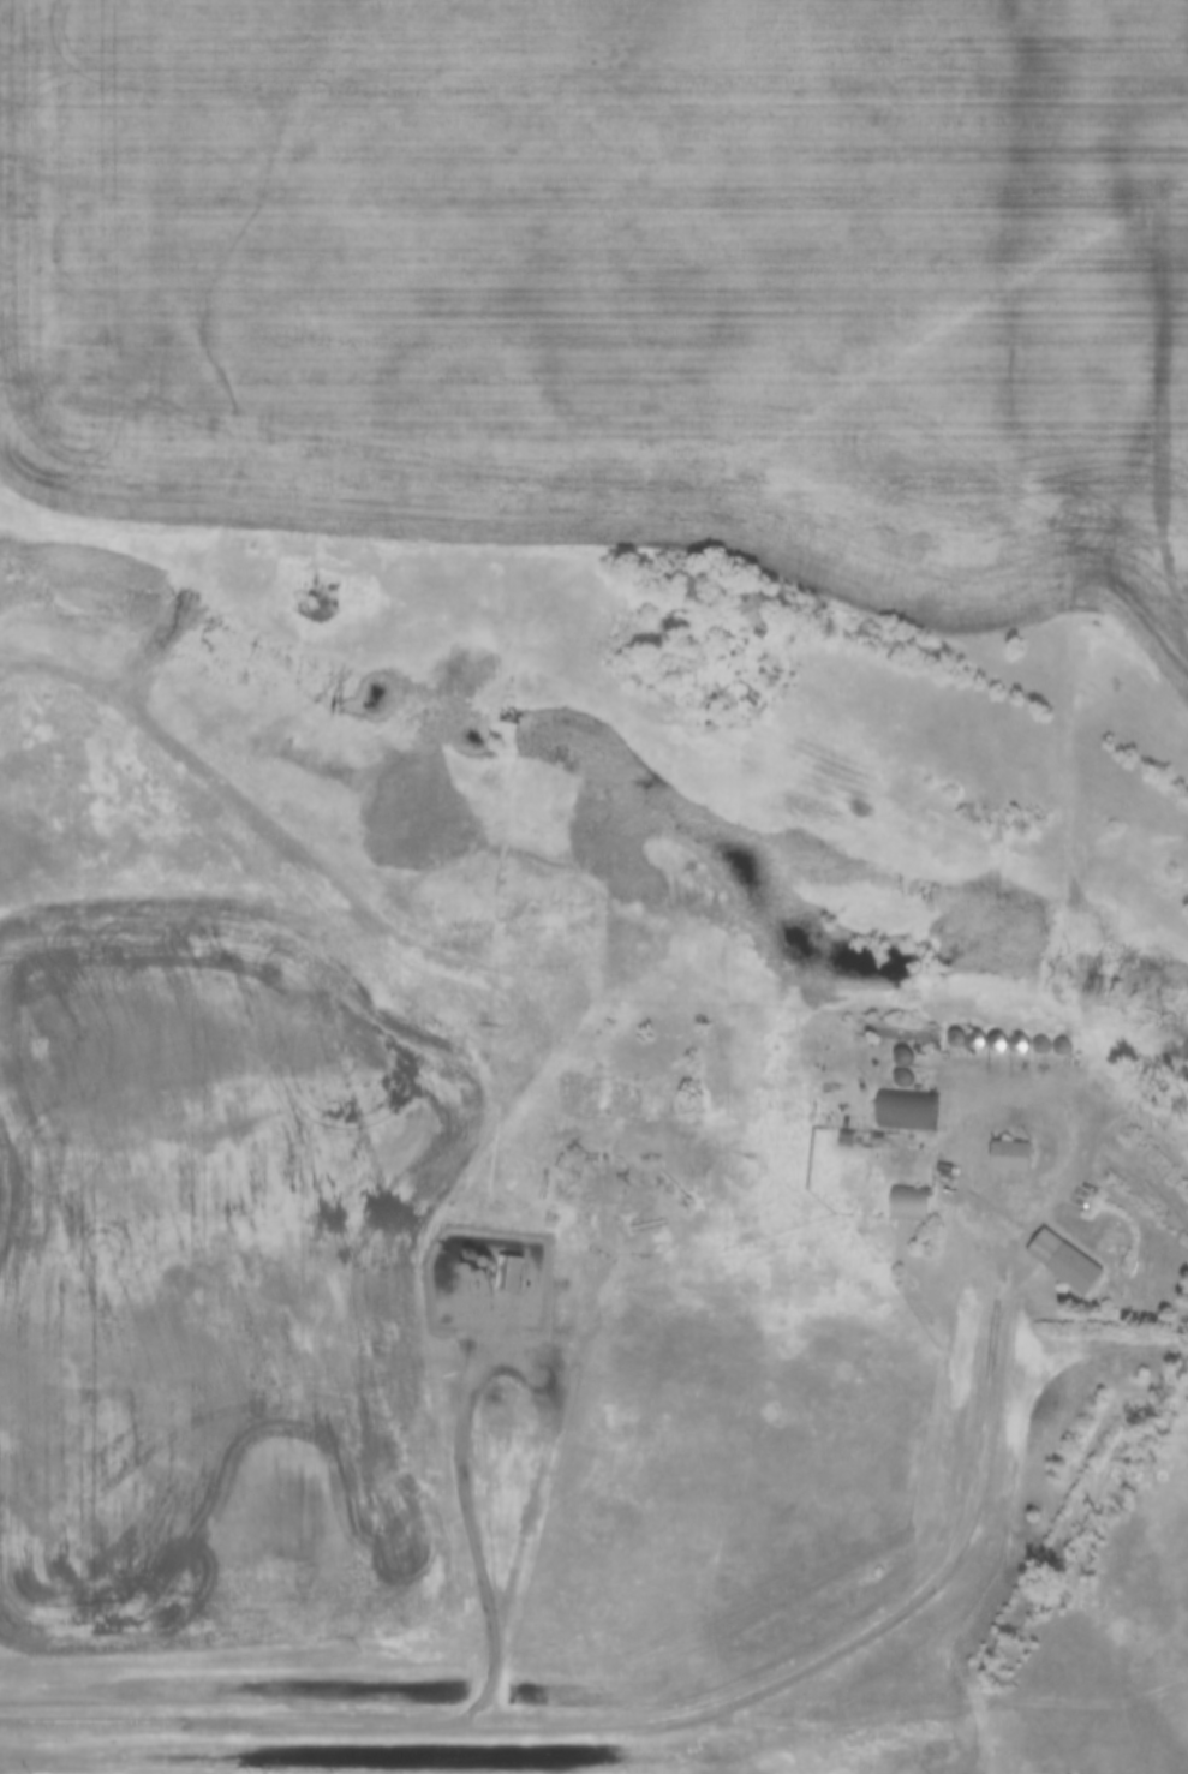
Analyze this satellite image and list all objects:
building: (937, 1026)
silo: (937, 1026)
building: (957, 1028)
silo: (957, 1028)
building: (897, 1029)
building: (979, 1031)
silo: (979, 1031)
building: (1022, 1031)
silo: (1022, 1031)
building: (1001, 1032)
silo: (1001, 1032)
building: (1043, 1033)
silo: (1043, 1033)
building: (883, 1044)
silo: (883, 1044)
building: (907, 1056)
building: (883, 1064)
silo: (883, 1064)
building: (906, 1079)
building: (888, 1095)
building: (911, 1111)
building: (899, 1131)
building: (858, 1139)
building: (991, 1142)
building: (1016, 1155)
building: (893, 1189)
building: (914, 1205)
storage tank: (455, 1240)
storage tank: (470, 1247)
building: (1045, 1249)
storage tank: (453, 1254)
building: (490, 1260)
storage tank: (467, 1261)
building: (506, 1271)
road: (555, 1370)
road: (686, 1707)

